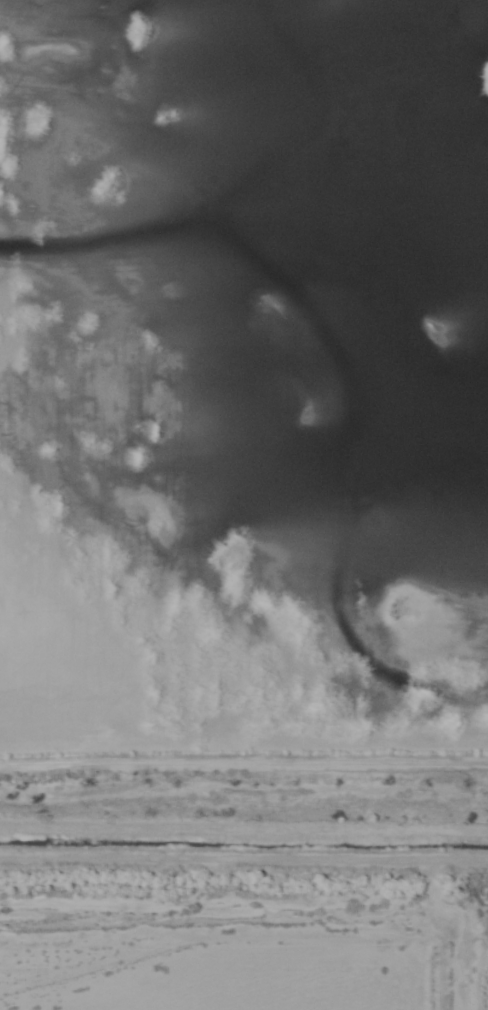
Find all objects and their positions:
road: (244, 873)

